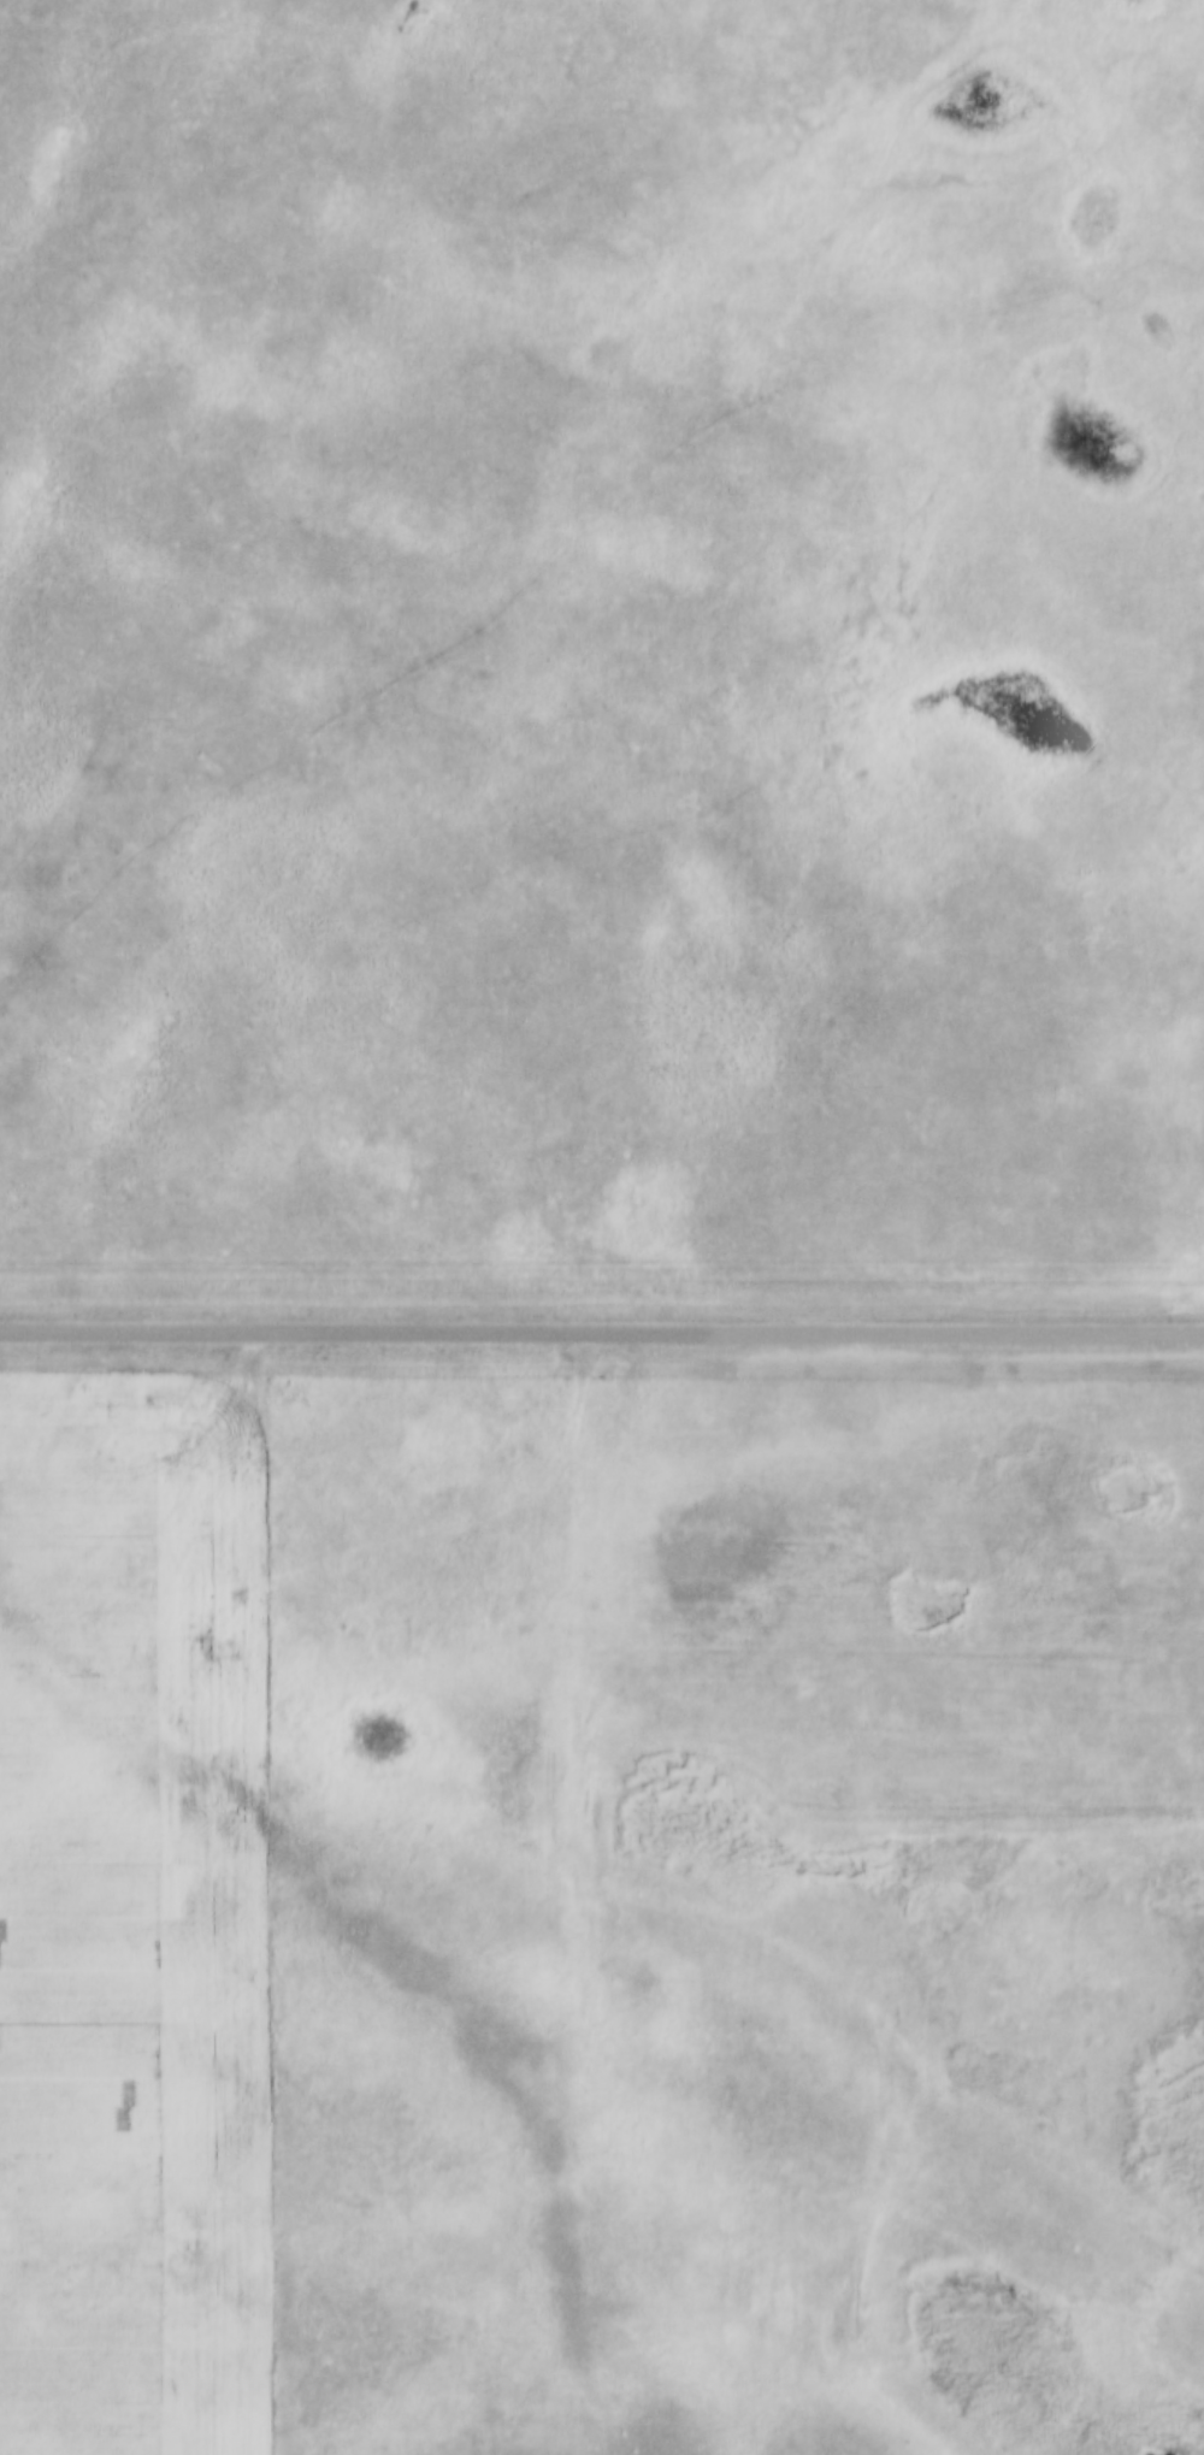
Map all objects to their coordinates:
road: (601, 1333)

